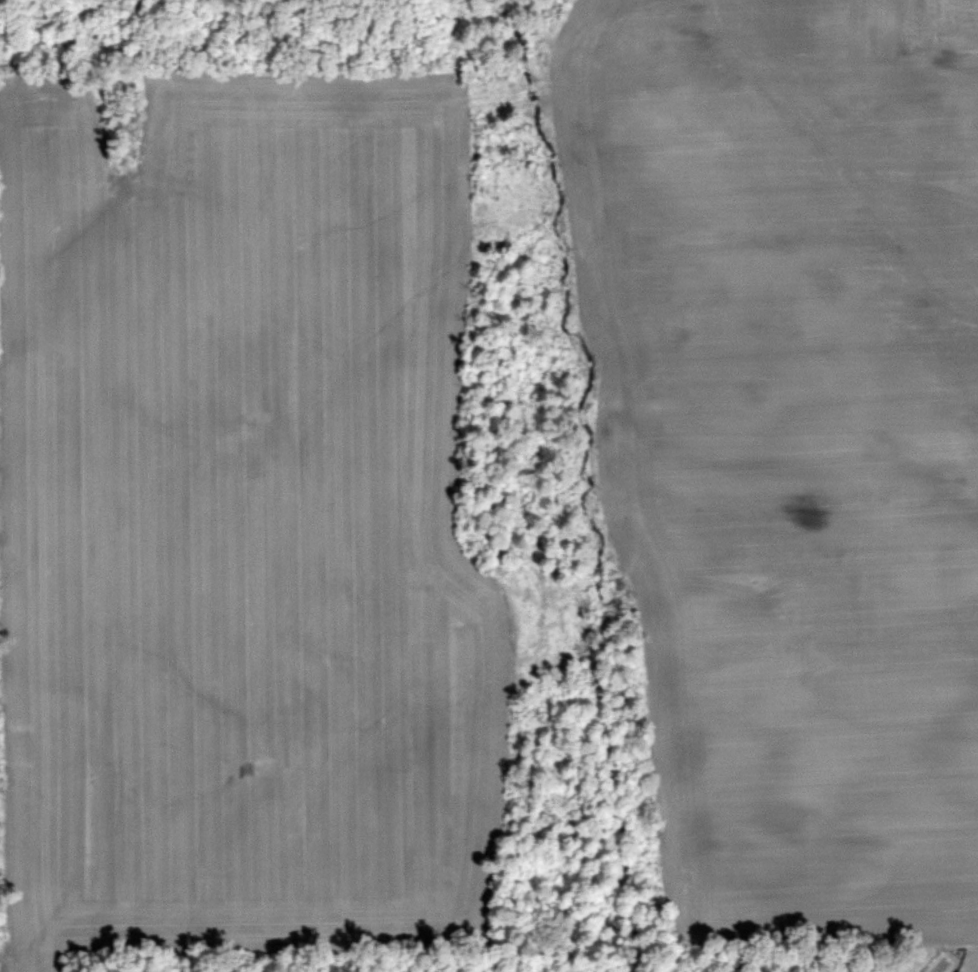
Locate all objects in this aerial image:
road: (974, 967)
building: (960, 970)

